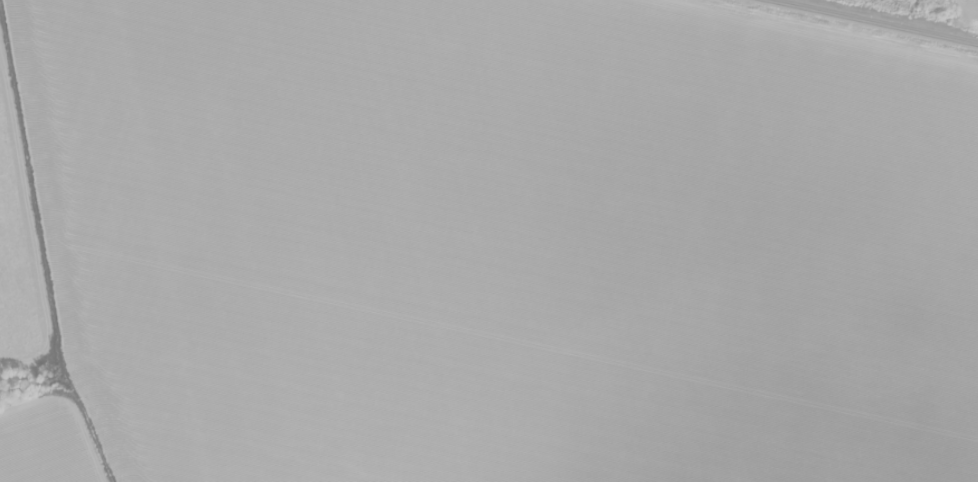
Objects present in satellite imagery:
railway: (876, 21)

